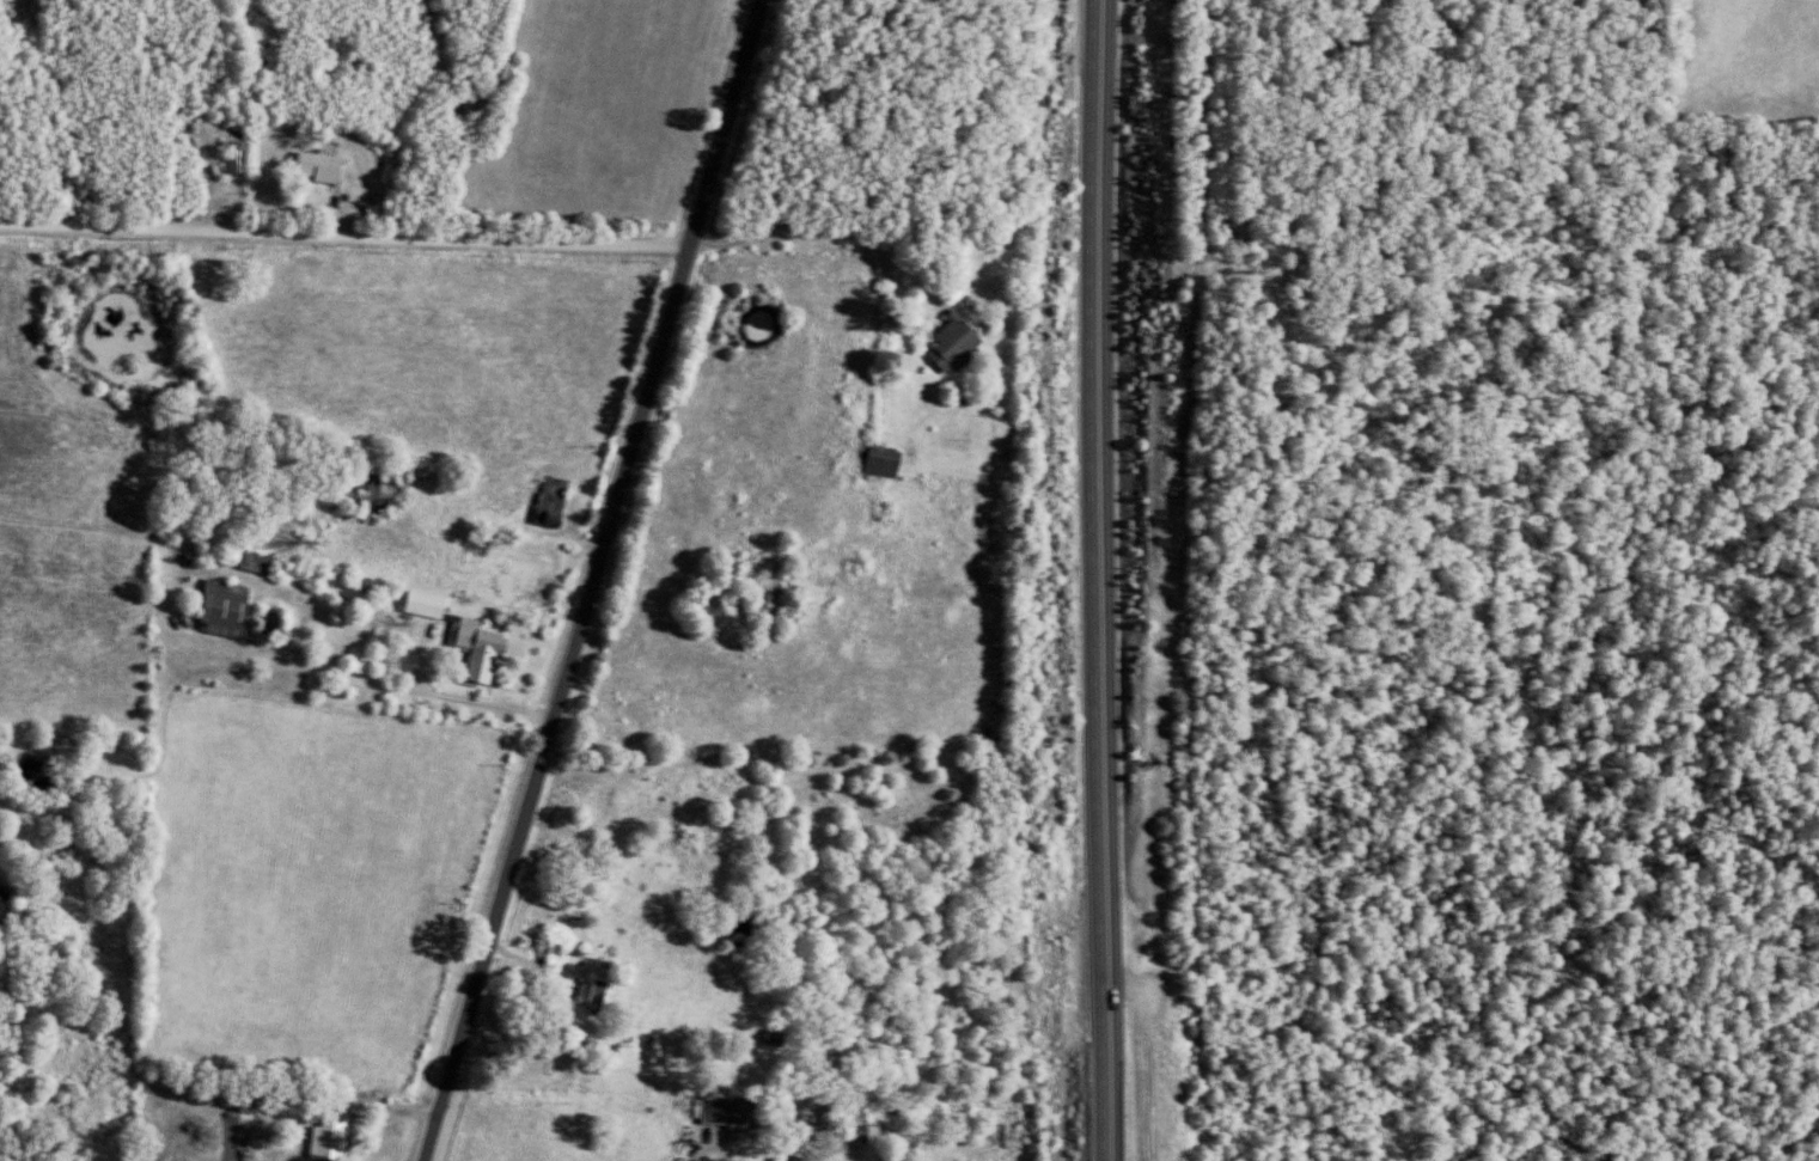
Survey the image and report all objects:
building: (244, 154)
building: (325, 164)
road: (344, 237)
building: (958, 338)
building: (887, 458)
road: (429, 496)
building: (556, 501)
road: (590, 580)
road: (1099, 580)
building: (431, 601)
building: (231, 605)
building: (486, 646)
road: (447, 696)
road: (548, 1001)
building: (722, 1108)
building: (337, 1133)
road: (714, 1148)
building: (786, 1154)

